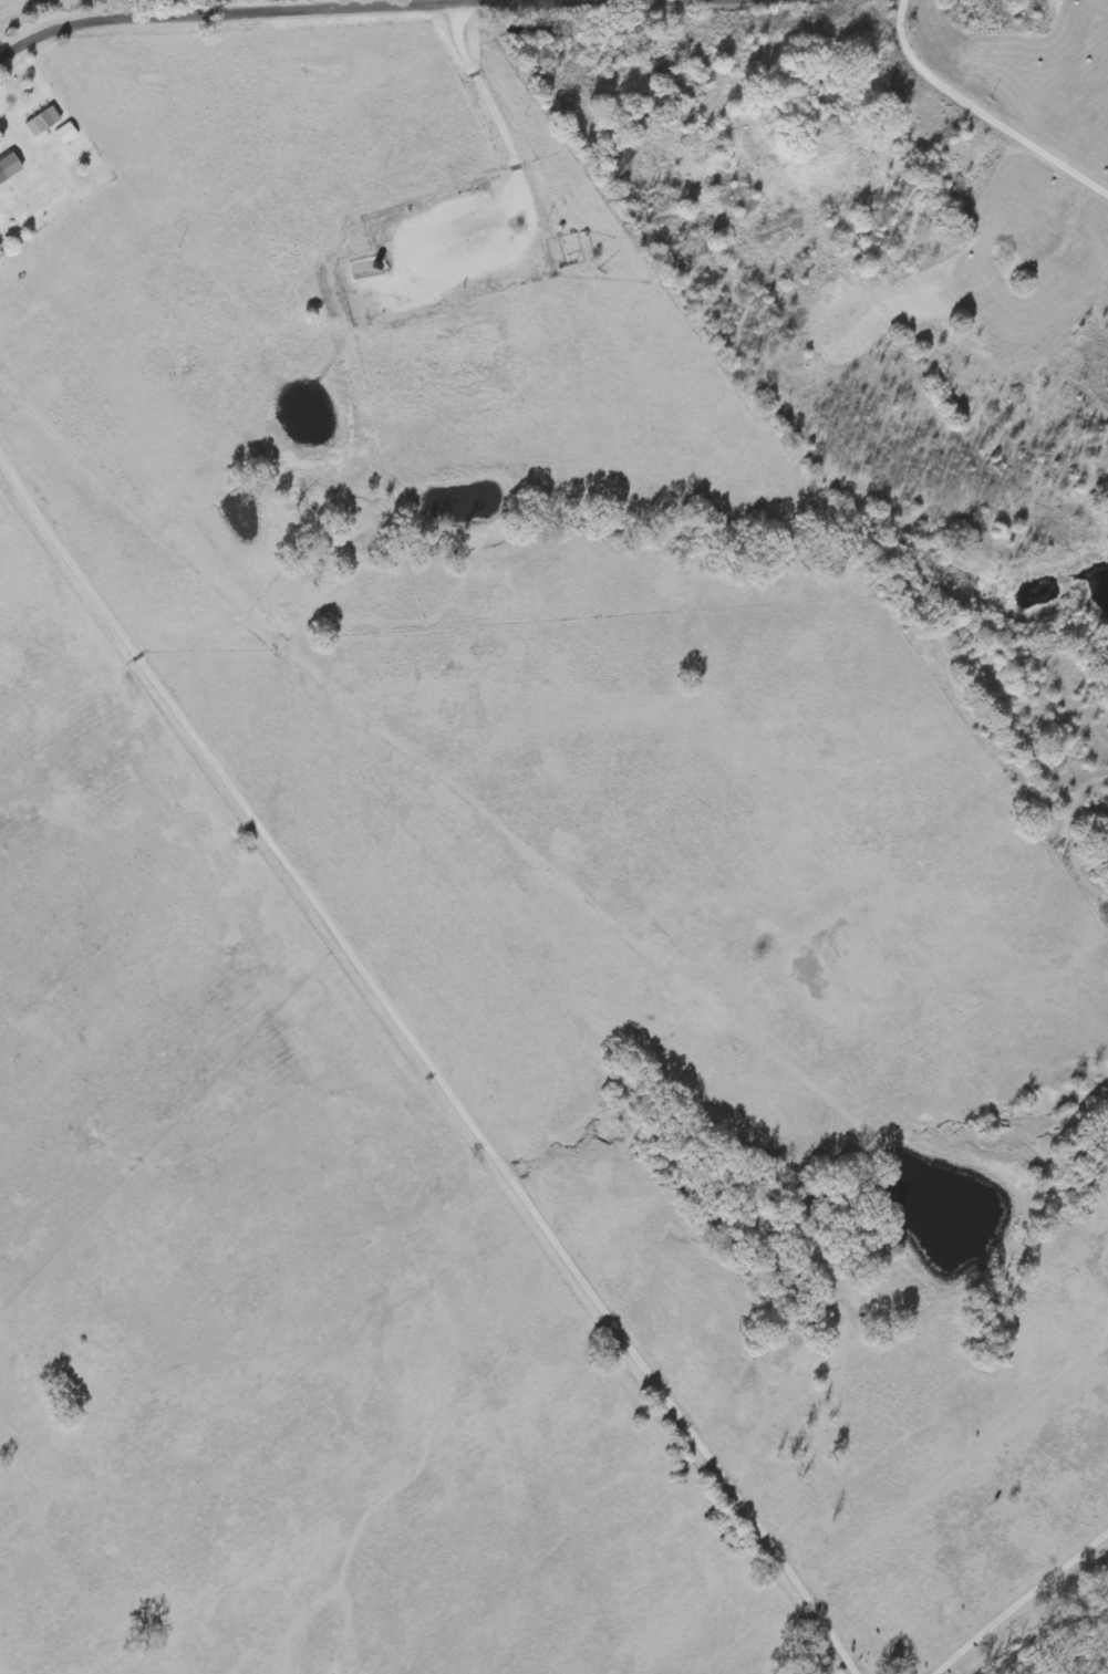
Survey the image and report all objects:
road: (331, 8)
building: (42, 123)
building: (66, 135)
building: (8, 168)
road: (521, 975)

